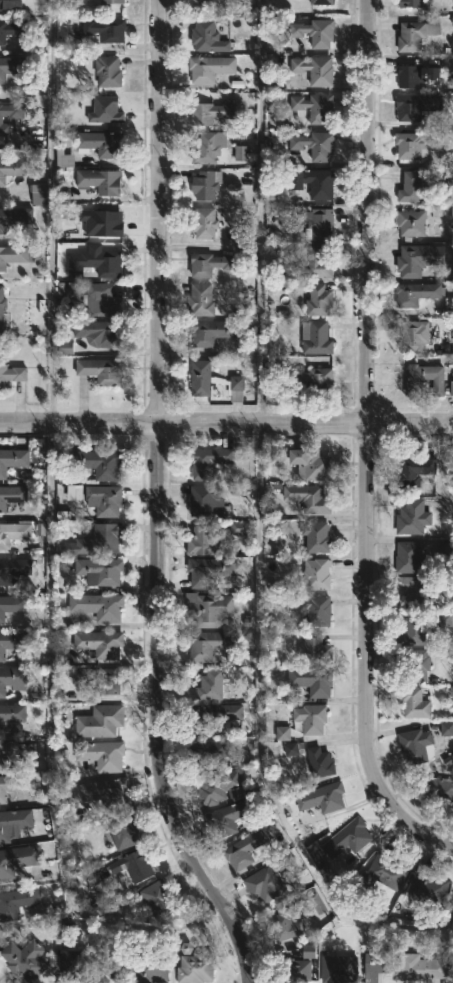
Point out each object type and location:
building: (112, 1)
building: (202, 2)
building: (321, 2)
building: (409, 3)
building: (17, 5)
building: (11, 29)
building: (432, 29)
building: (105, 30)
building: (315, 31)
building: (410, 35)
building: (207, 36)
building: (11, 67)
building: (209, 67)
building: (314, 69)
building: (107, 71)
building: (415, 74)
building: (417, 105)
building: (314, 106)
building: (105, 109)
building: (209, 112)
building: (12, 114)
building: (100, 143)
building: (314, 144)
building: (415, 144)
building: (209, 146)
building: (240, 153)
building: (63, 159)
building: (449, 160)
building: (13, 168)
building: (449, 177)
building: (99, 180)
building: (313, 182)
building: (205, 184)
building: (410, 187)
building: (38, 193)
road: (52, 212)
building: (451, 213)
building: (14, 216)
building: (101, 222)
building: (203, 223)
building: (411, 223)
building: (319, 224)
building: (15, 254)
building: (412, 260)
building: (93, 262)
building: (207, 263)
building: (316, 263)
building: (415, 293)
building: (100, 299)
building: (200, 299)
building: (318, 300)
building: (1, 307)
building: (98, 332)
building: (211, 332)
building: (414, 336)
building: (315, 337)
building: (64, 348)
building: (100, 370)
building: (11, 375)
building: (199, 377)
building: (310, 378)
building: (414, 387)
building: (451, 388)
building: (235, 389)
road: (226, 425)
road: (365, 446)
building: (12, 459)
building: (206, 461)
building: (98, 464)
building: (310, 464)
road: (257, 465)
building: (414, 471)
building: (11, 495)
building: (308, 498)
building: (104, 500)
building: (204, 500)
road: (157, 501)
building: (412, 517)
building: (238, 528)
building: (13, 532)
building: (316, 537)
building: (100, 539)
building: (203, 541)
building: (446, 547)
building: (408, 558)
building: (13, 569)
building: (99, 571)
building: (208, 571)
building: (316, 574)
building: (412, 590)
building: (11, 605)
building: (97, 606)
building: (208, 609)
building: (315, 611)
building: (443, 619)
building: (412, 632)
building: (12, 641)
building: (100, 643)
building: (208, 644)
building: (313, 649)
building: (415, 664)
building: (12, 679)
building: (98, 679)
building: (311, 680)
building: (213, 684)
building: (412, 702)
building: (11, 714)
building: (210, 715)
building: (310, 719)
building: (99, 721)
building: (446, 729)
building: (282, 733)
building: (416, 746)
building: (290, 749)
building: (212, 750)
building: (6, 753)
building: (105, 756)
building: (320, 763)
building: (12, 785)
building: (217, 787)
building: (437, 790)
building: (107, 793)
building: (322, 798)
building: (227, 818)
building: (13, 822)
building: (122, 831)
building: (347, 838)
building: (243, 850)
building: (17, 860)
building: (132, 866)
building: (380, 875)
building: (263, 885)
building: (427, 887)
building: (157, 900)
building: (16, 903)
building: (288, 921)
building: (307, 951)
building: (24, 960)
building: (74, 964)
building: (376, 965)
building: (419, 968)
building: (150, 969)
building: (194, 969)
building: (338, 969)
building: (108, 970)
building: (293, 970)

